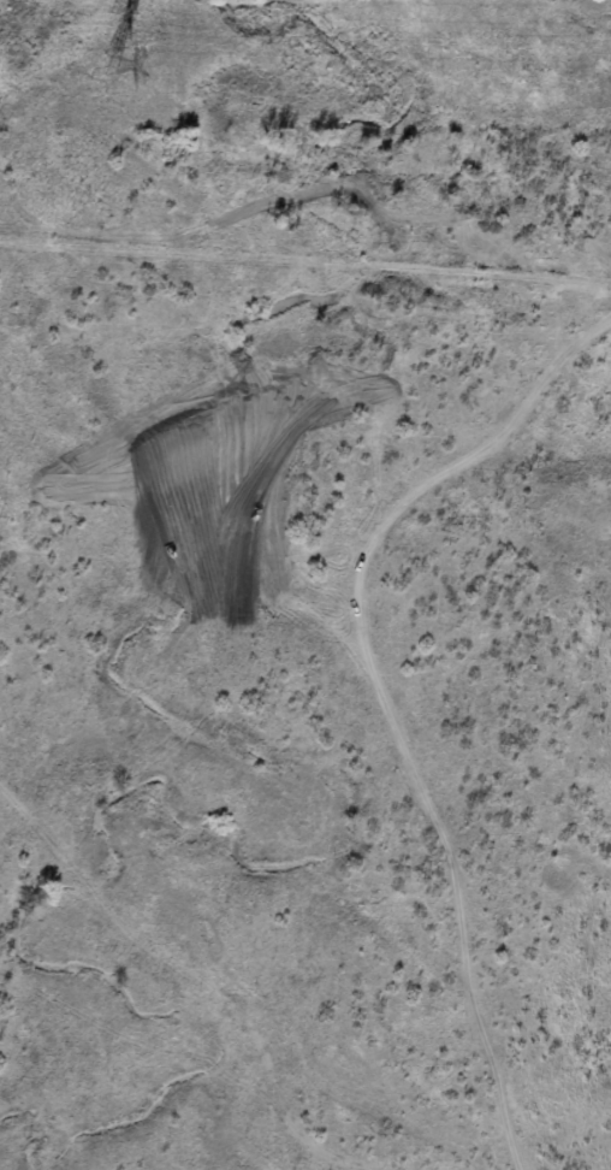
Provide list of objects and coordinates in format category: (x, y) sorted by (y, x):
power tower: (109, 64)

